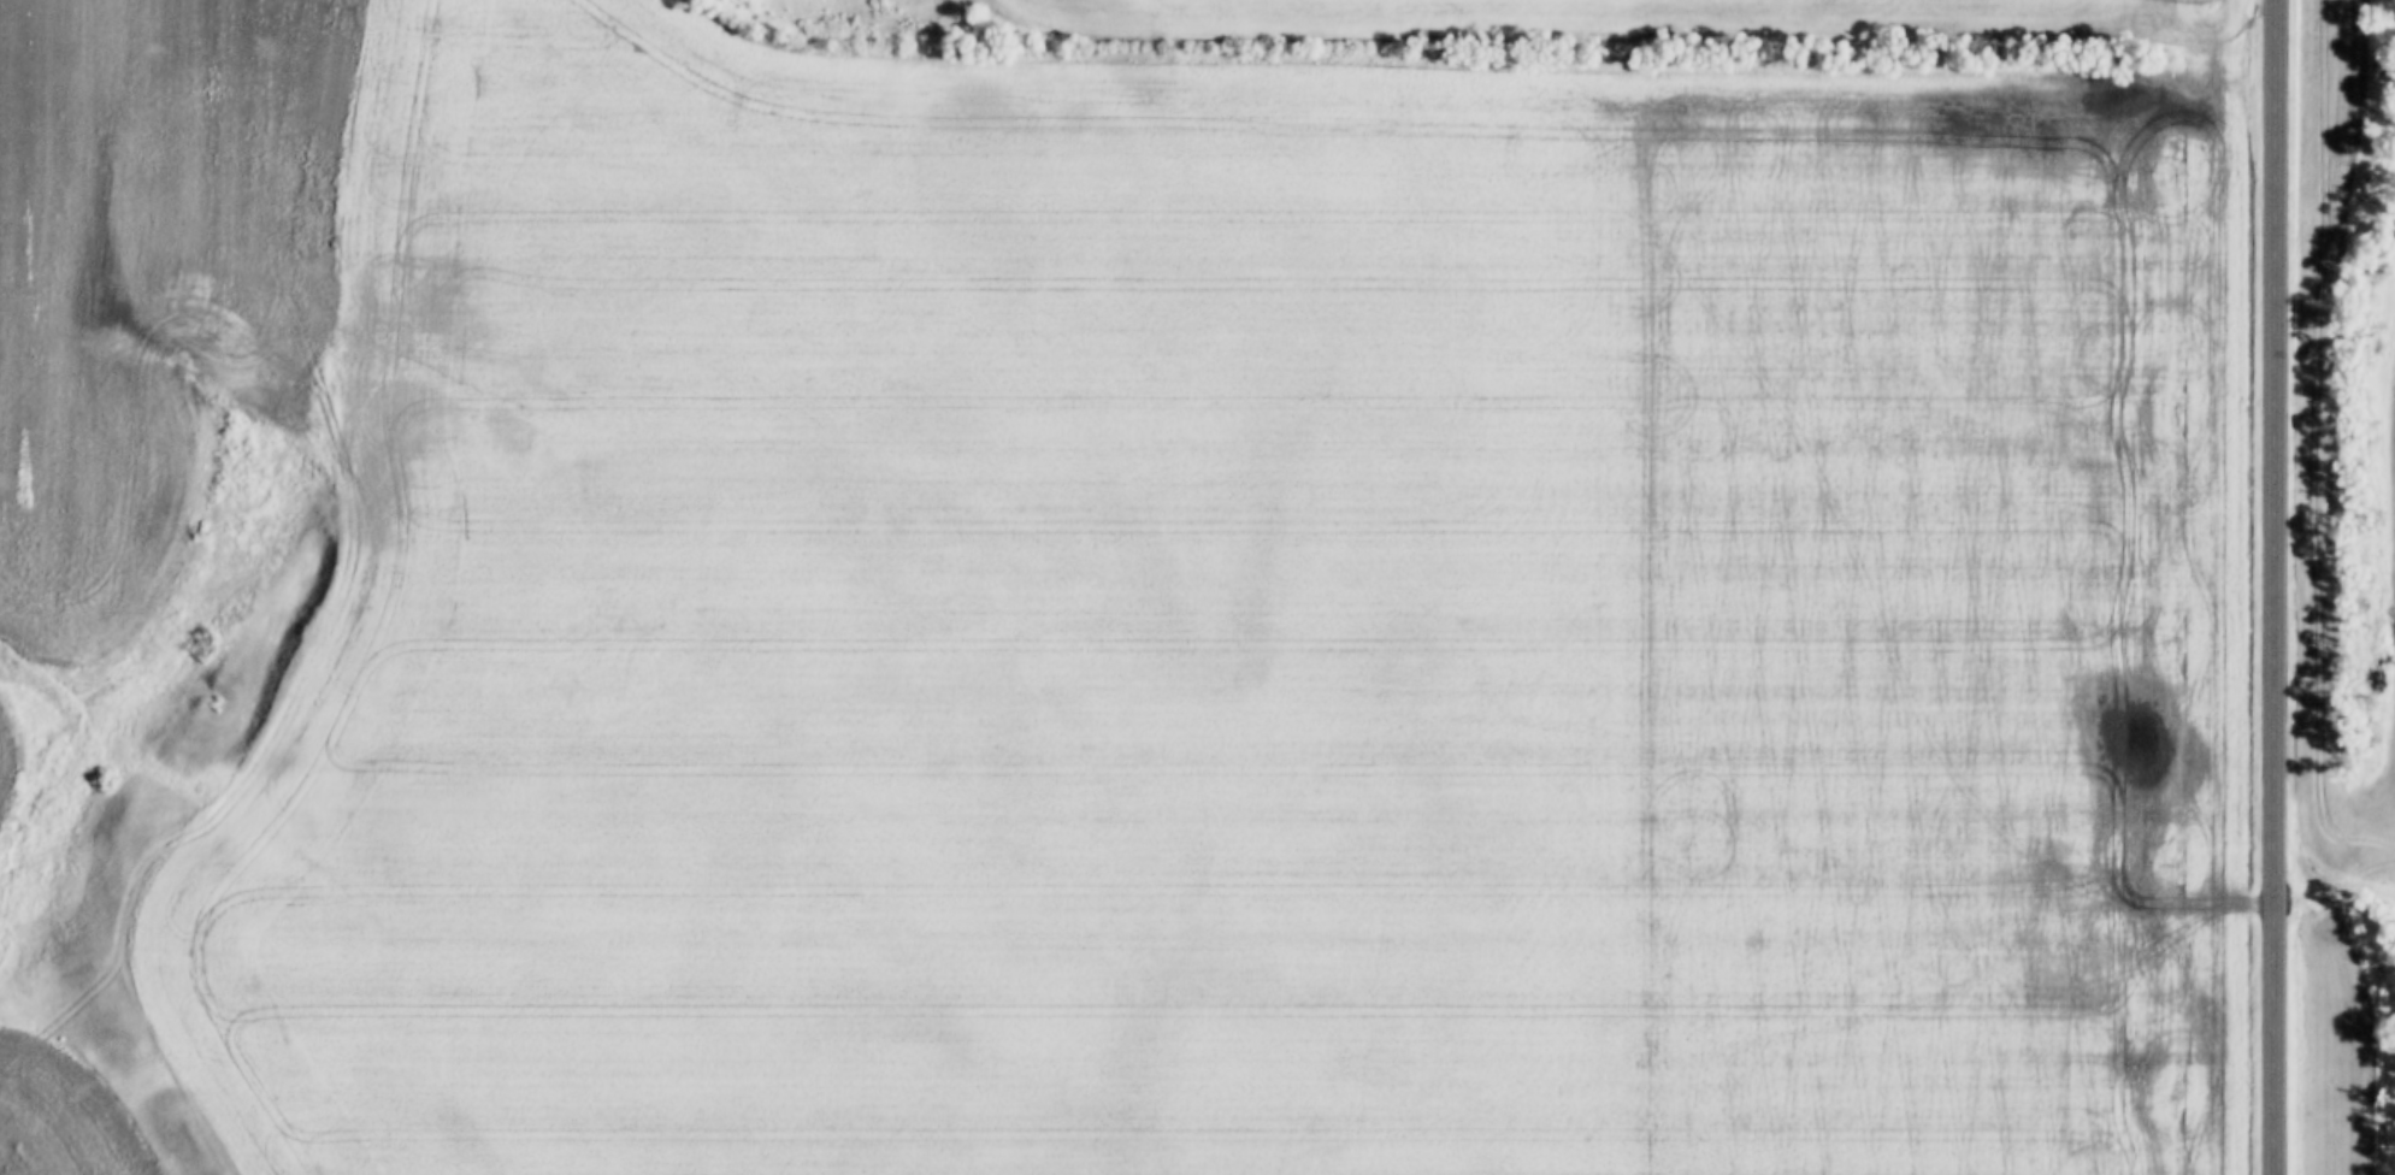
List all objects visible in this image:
road: (2272, 587)

